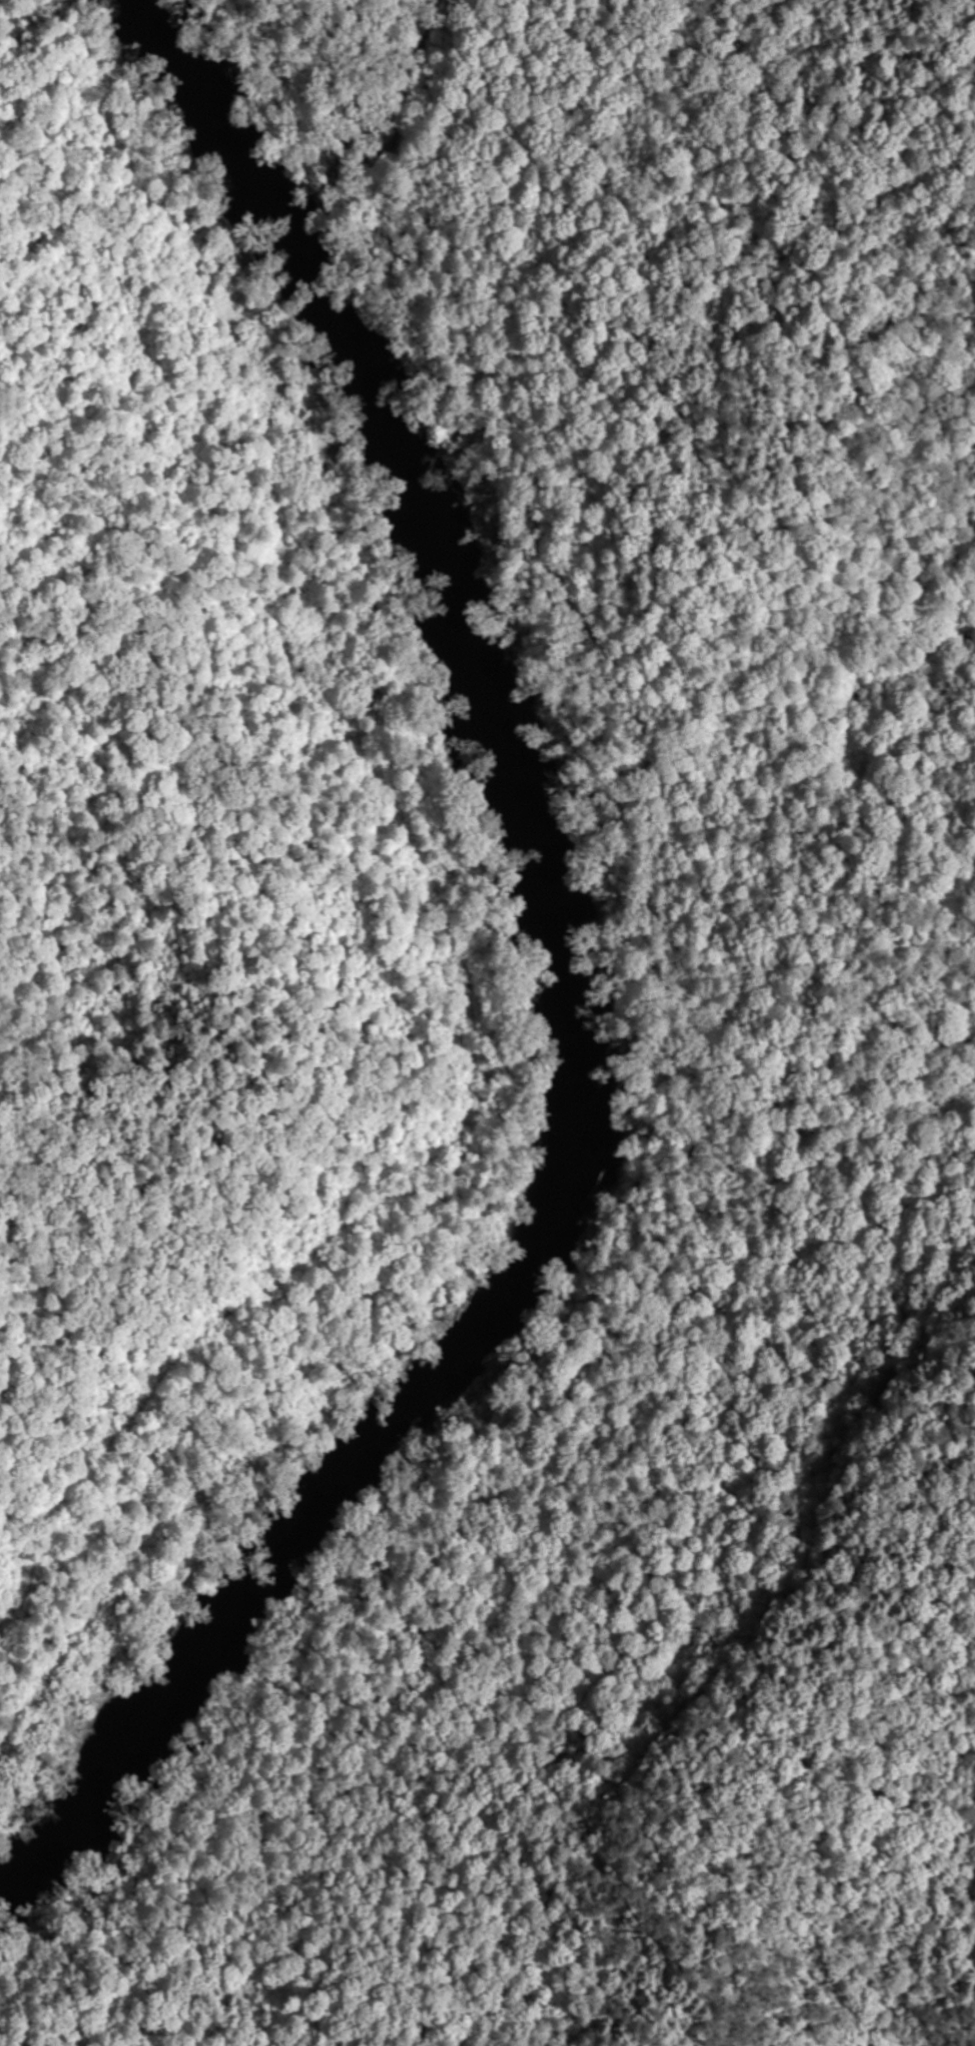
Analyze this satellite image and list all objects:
river: (568, 1006)

